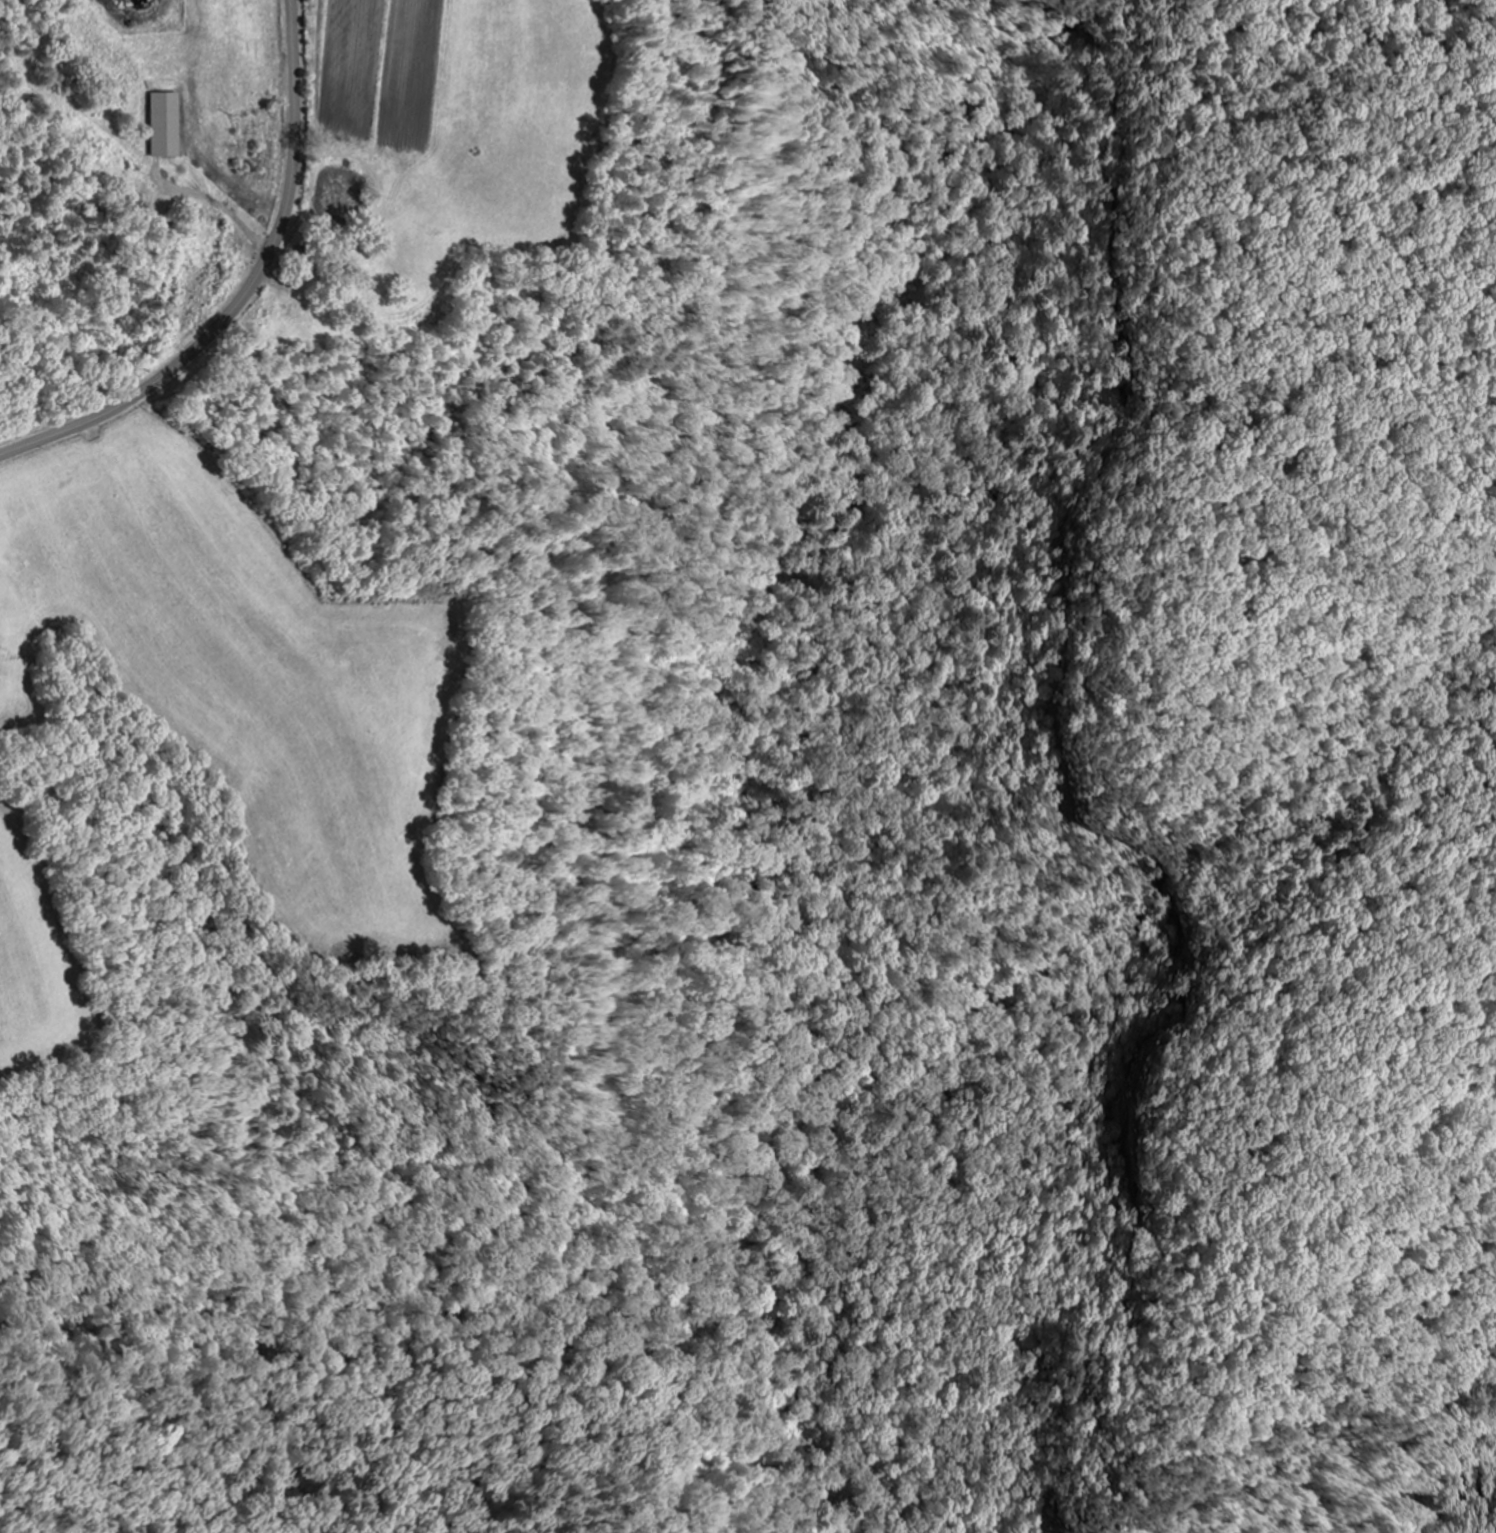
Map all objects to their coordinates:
building: (167, 125)
road: (246, 291)

